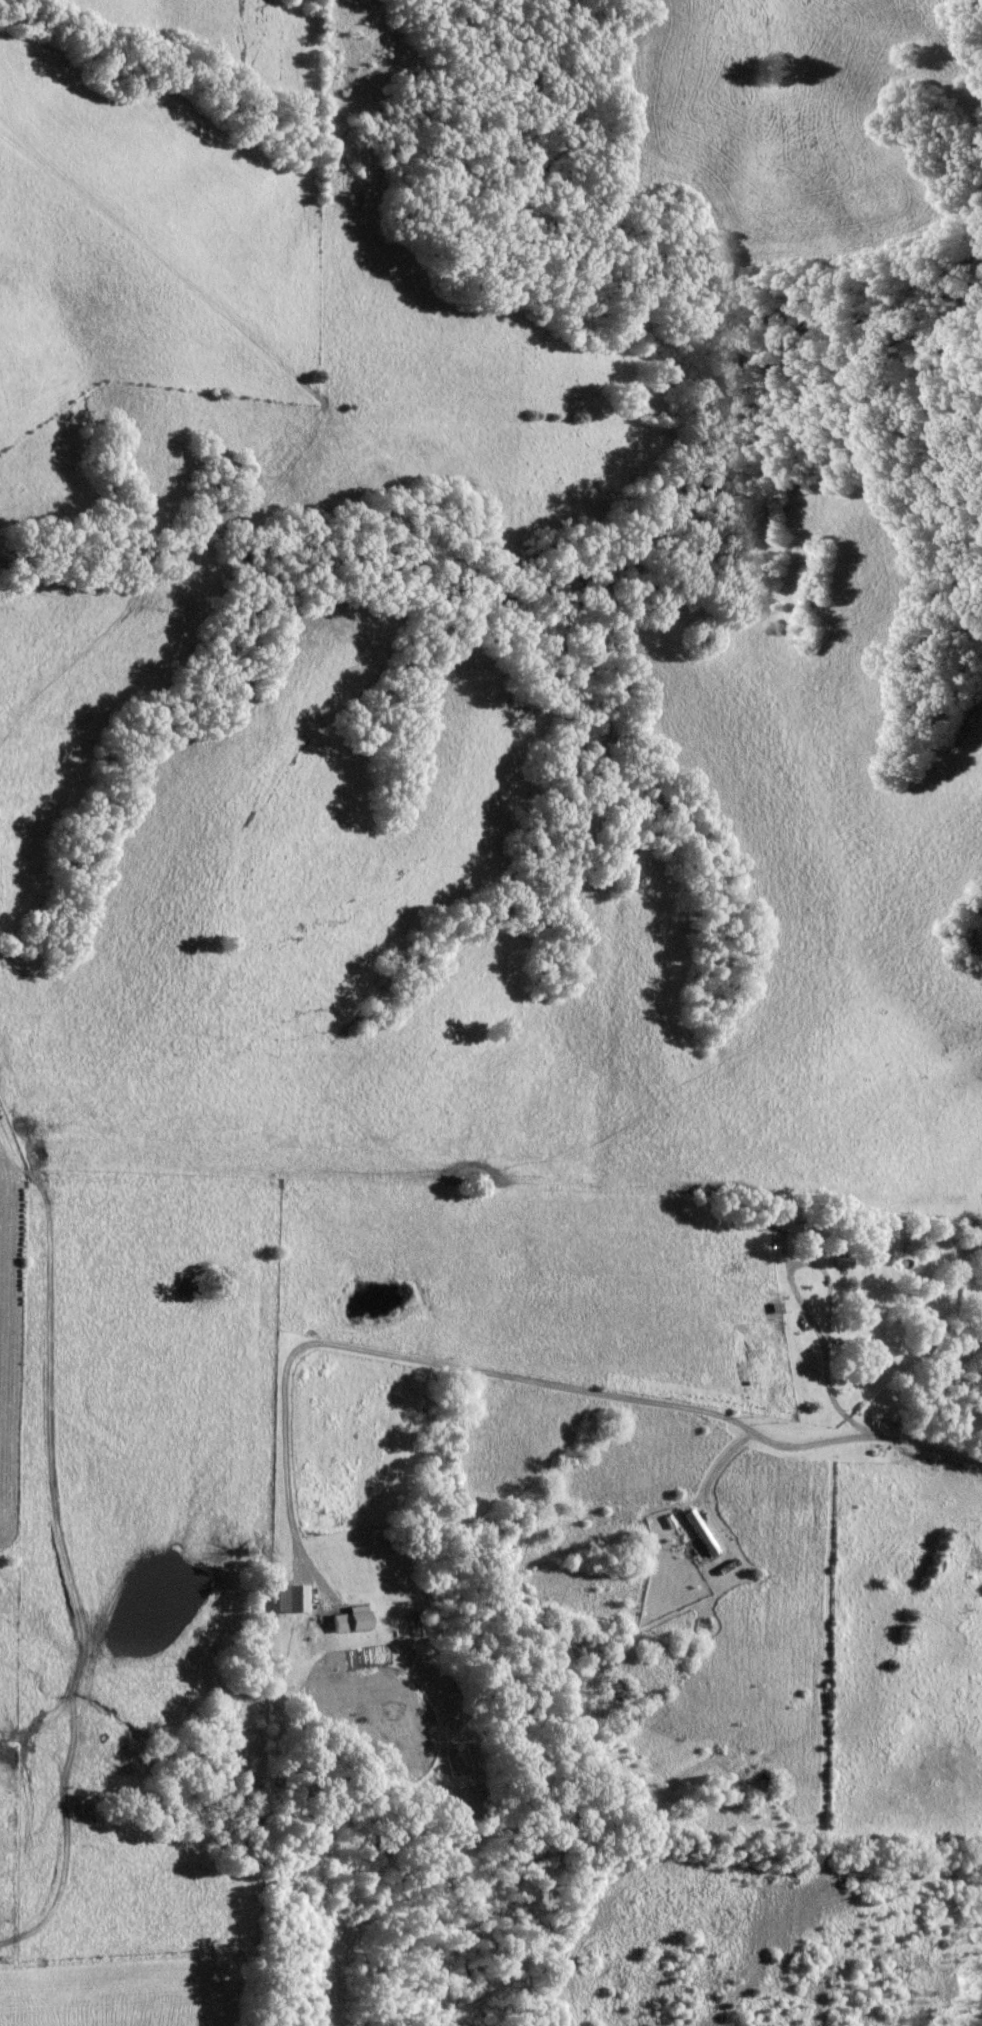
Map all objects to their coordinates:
park: (224, 942)
building: (783, 1214)
road: (828, 1297)
road: (455, 1368)
road: (876, 1431)
road: (710, 1476)
building: (701, 1531)
road: (38, 1551)
building: (353, 1619)

